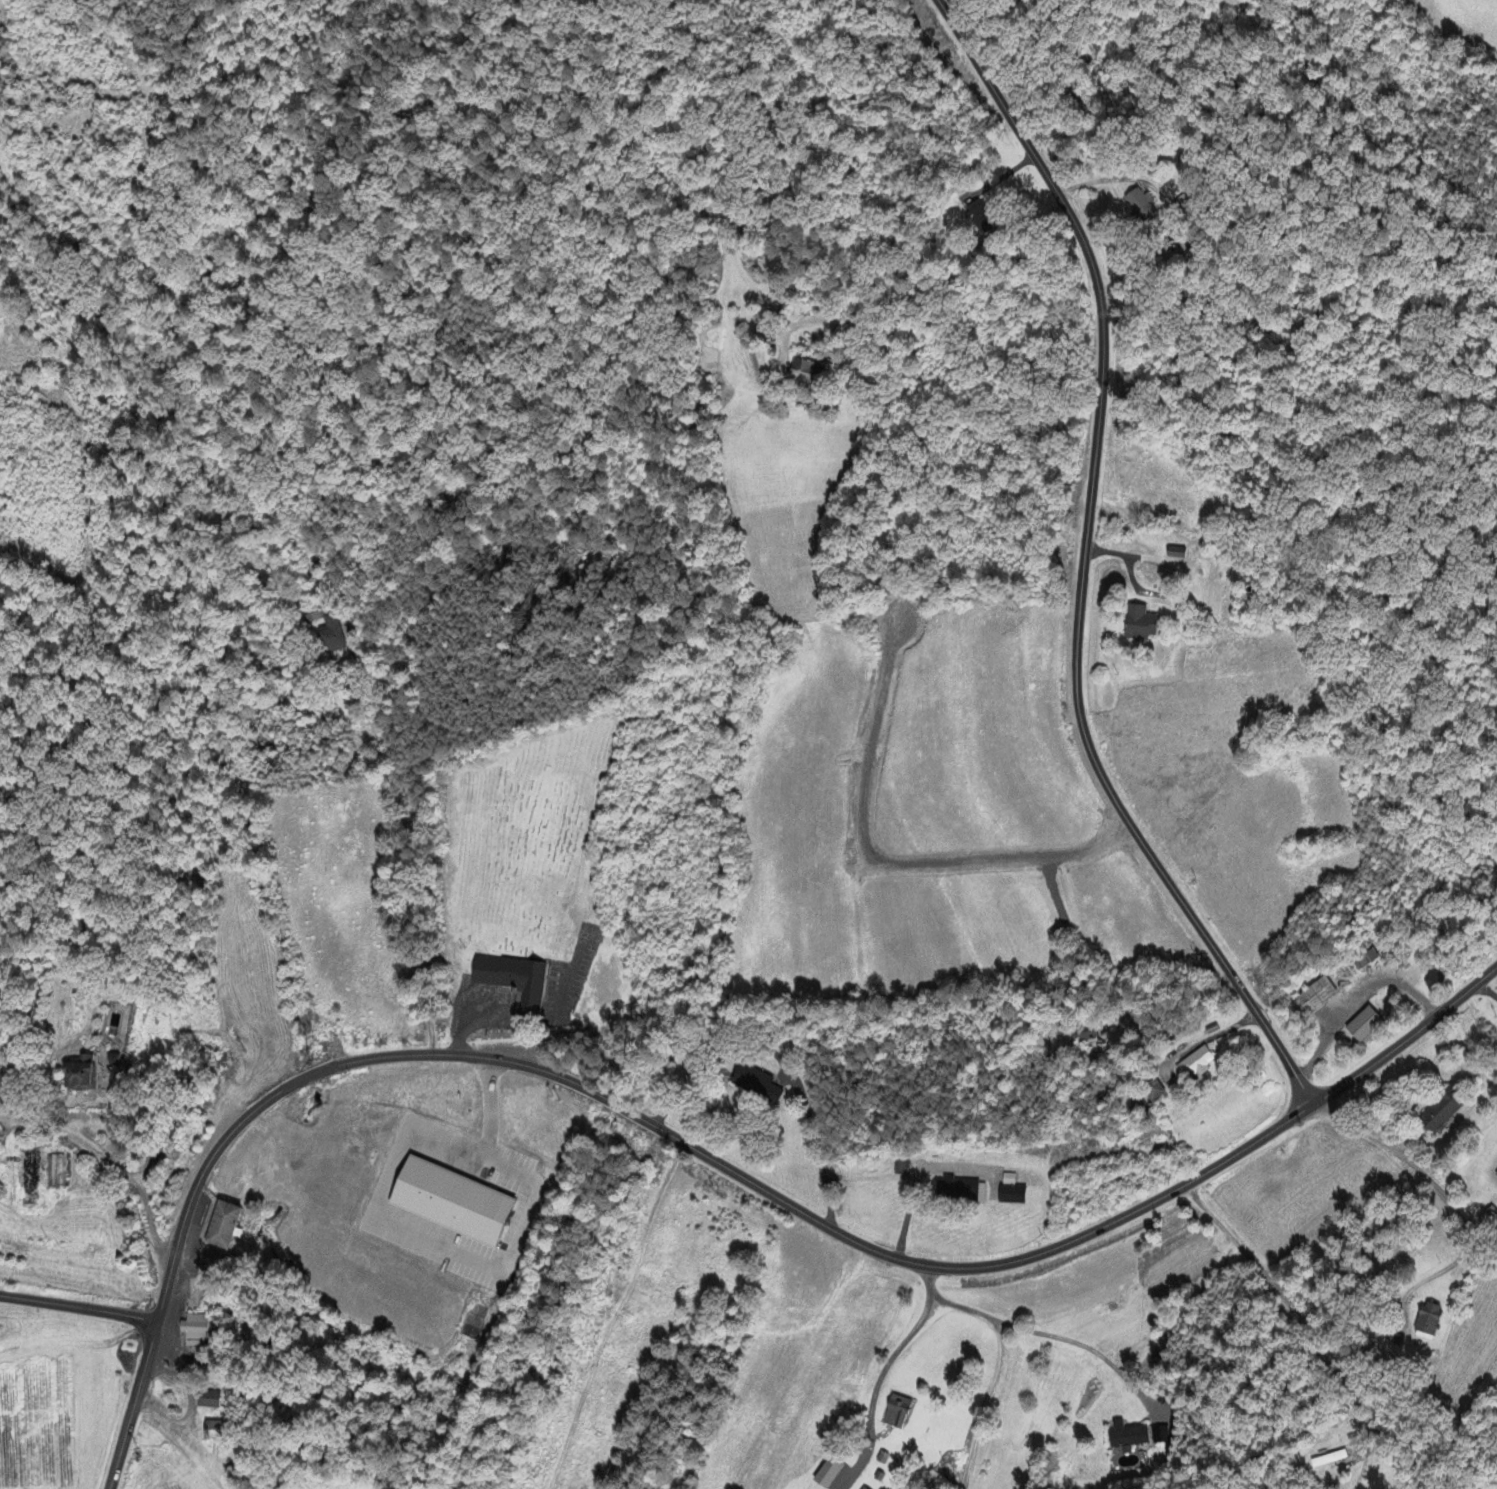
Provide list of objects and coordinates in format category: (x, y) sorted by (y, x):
building: (1139, 206)
building: (978, 219)
building: (806, 371)
road: (1083, 559)
building: (1137, 625)
building: (332, 637)
road: (394, 803)
building: (510, 980)
building: (1316, 997)
building: (1362, 1025)
building: (1081, 1035)
building: (111, 1060)
building: (1194, 1065)
building: (79, 1078)
building: (755, 1085)
building: (1152, 1091)
building: (1439, 1113)
road: (708, 1158)
building: (900, 1168)
building: (54, 1173)
building: (1495, 1177)
building: (1009, 1191)
road: (1402, 1191)
building: (957, 1192)
building: (452, 1202)
building: (218, 1224)
road: (78, 1307)
building: (1426, 1323)
building: (191, 1328)
road: (1045, 1333)
road: (1292, 1341)
road: (873, 1387)
building: (205, 1400)
road: (984, 1404)
building: (893, 1413)
building: (212, 1431)
building: (1126, 1437)
building: (1327, 1460)
road: (1415, 1467)
road: (1344, 1468)
building: (824, 1473)
building: (858, 1488)

